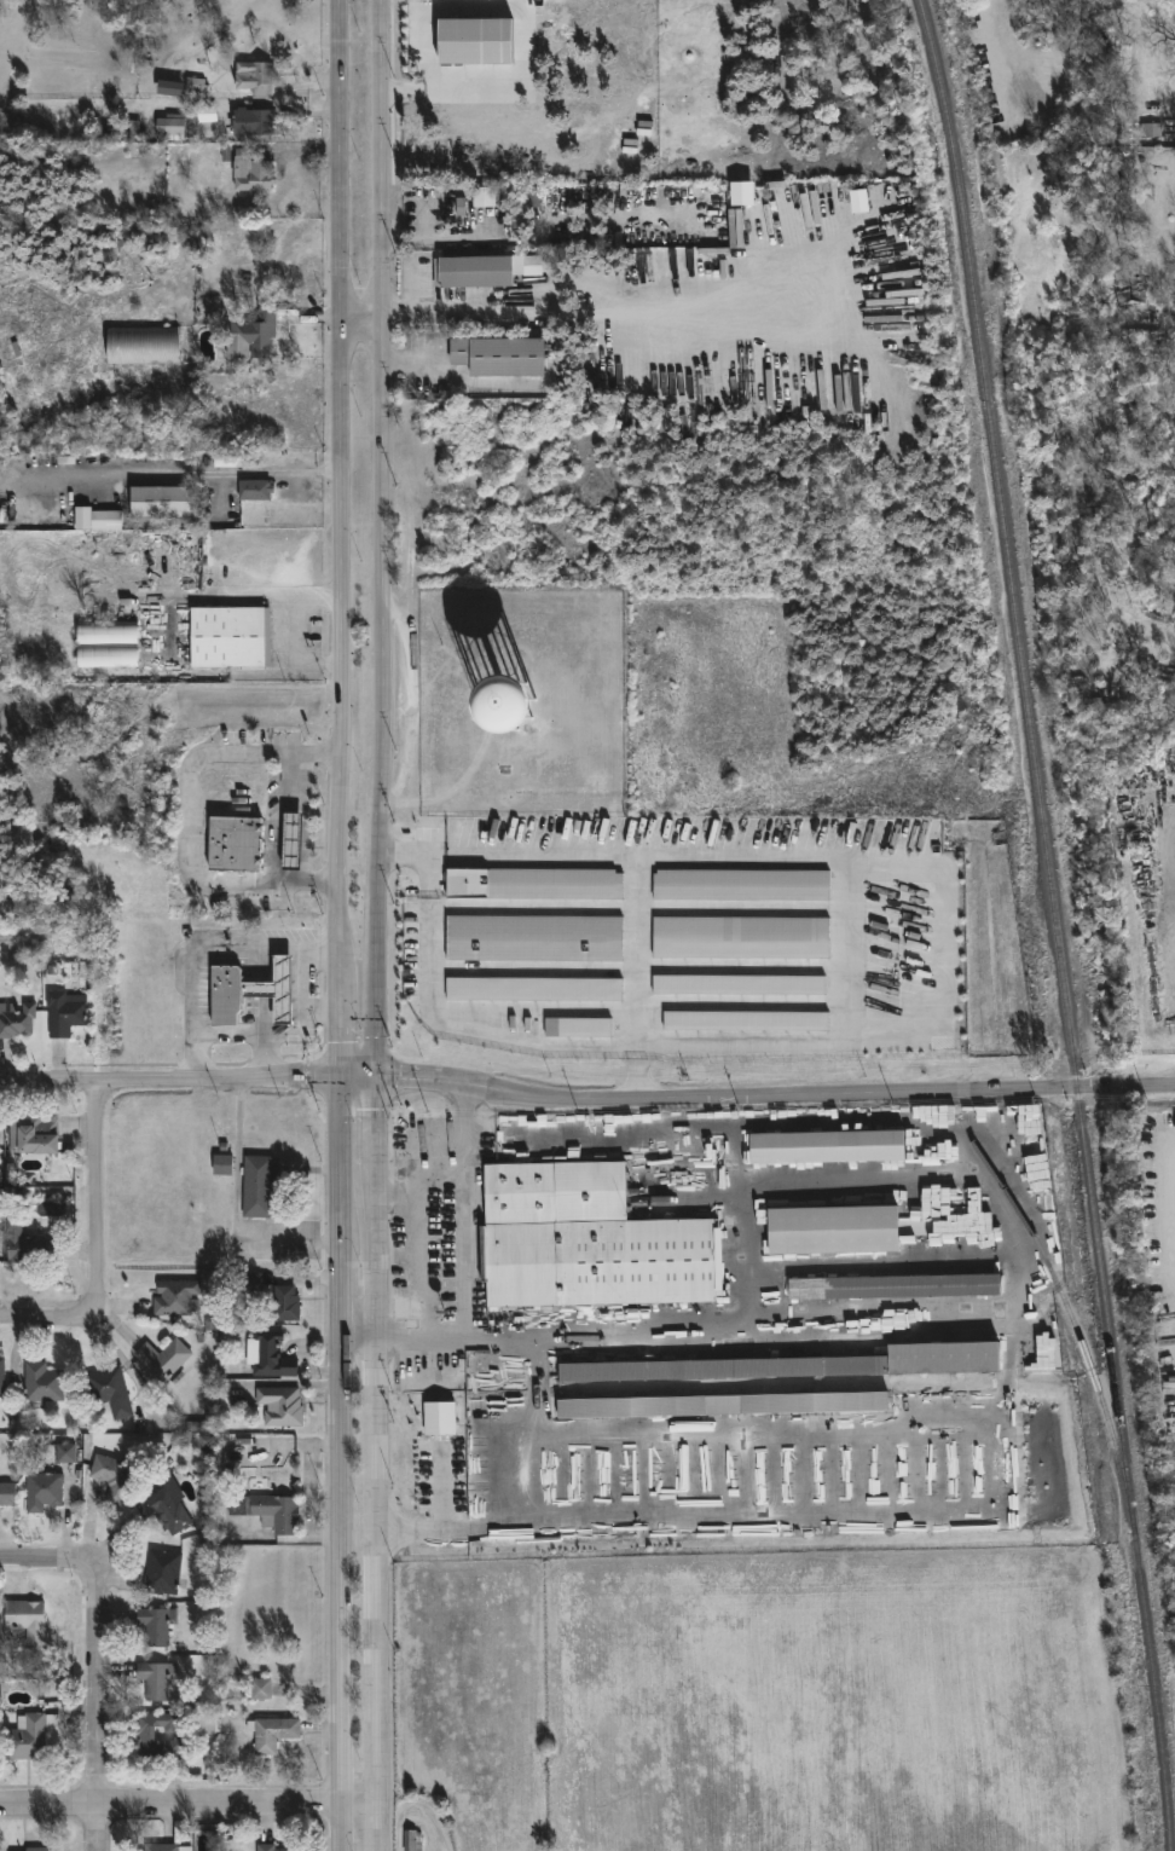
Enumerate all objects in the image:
road: (523, 27)
building: (475, 41)
building: (255, 79)
building: (193, 86)
building: (170, 88)
building: (207, 115)
building: (251, 122)
building: (172, 125)
building: (1150, 125)
building: (251, 173)
building: (484, 197)
road: (446, 238)
road: (392, 241)
building: (477, 272)
building: (1128, 284)
road: (343, 299)
road: (410, 302)
road: (361, 312)
building: (250, 337)
building: (141, 346)
building: (500, 357)
road: (410, 360)
road: (380, 452)
building: (256, 491)
building: (161, 502)
building: (106, 521)
road: (260, 592)
road: (307, 617)
building: (227, 637)
building: (108, 643)
water tower: (515, 716)
road: (341, 792)
road: (280, 827)
building: (291, 841)
gas station: (291, 841)
building: (233, 843)
road: (1173, 850)
road: (630, 856)
building: (534, 884)
building: (741, 885)
railway: (1057, 922)
building: (741, 938)
building: (534, 939)
road: (201, 944)
building: (739, 985)
building: (534, 989)
building: (276, 990)
gas station: (276, 990)
road: (378, 990)
building: (226, 994)
road: (322, 1006)
building: (64, 1013)
building: (16, 1020)
building: (746, 1022)
building: (578, 1028)
road: (341, 1031)
road: (295, 1036)
road: (264, 1057)
traffic signals: (341, 1075)
road: (360, 1075)
traffic signals: (381, 1076)
road: (170, 1078)
road: (776, 1101)
building: (31, 1134)
road: (422, 1143)
building: (827, 1147)
building: (222, 1165)
building: (256, 1186)
road: (95, 1188)
building: (832, 1231)
building: (584, 1242)
building: (27, 1244)
building: (249, 1282)
road: (417, 1285)
building: (895, 1286)
building: (174, 1297)
building: (285, 1303)
railway: (1067, 1303)
road: (52, 1320)
road: (360, 1327)
building: (1037, 1354)
building: (267, 1355)
building: (162, 1359)
building: (812, 1365)
building: (1, 1377)
building: (41, 1383)
building: (108, 1392)
building: (723, 1405)
building: (279, 1406)
building: (440, 1418)
building: (65, 1453)
road: (543, 1457)
road: (342, 1462)
road: (377, 1463)
building: (111, 1477)
building: (41, 1491)
building: (6, 1494)
building: (163, 1511)
building: (267, 1512)
road: (41, 1555)
building: (161, 1573)
building: (25, 1618)
building: (156, 1625)
building: (156, 1681)
building: (261, 1689)
road: (102, 1701)
building: (207, 1724)
building: (30, 1734)
building: (271, 1734)
building: (156, 1737)
road: (187, 1805)
building: (412, 1840)
building: (166, 1847)
building: (270, 1847)
building: (35, 1849)

